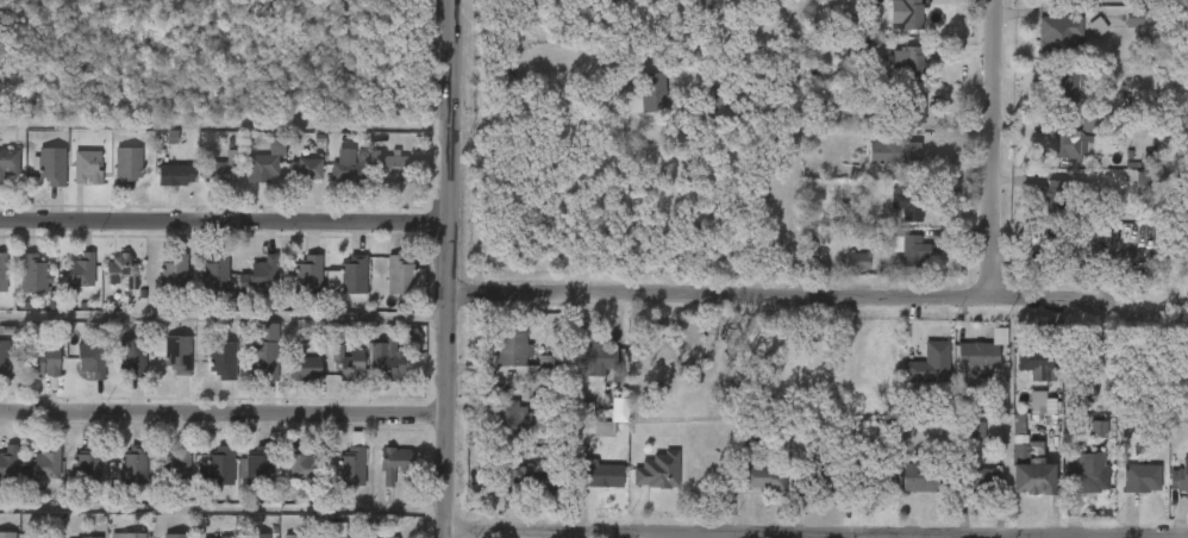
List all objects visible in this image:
building: (1146, 0)
building: (649, 1)
building: (614, 4)
building: (909, 14)
building: (1134, 18)
building: (1094, 26)
building: (1056, 29)
building: (911, 63)
building: (1065, 85)
building: (644, 92)
road: (532, 95)
building: (911, 105)
building: (713, 107)
road: (226, 126)
building: (1074, 139)
road: (998, 146)
building: (892, 151)
building: (10, 161)
building: (264, 163)
building: (51, 164)
building: (87, 165)
building: (127, 165)
building: (392, 167)
building: (221, 168)
building: (307, 168)
building: (349, 170)
building: (175, 174)
building: (1140, 183)
building: (1056, 196)
building: (907, 204)
road: (225, 221)
building: (1113, 229)
building: (1059, 244)
building: (911, 246)
building: (855, 259)
road: (450, 268)
building: (119, 270)
building: (1, 271)
building: (31, 273)
building: (76, 273)
building: (261, 273)
building: (170, 274)
building: (306, 274)
building: (212, 275)
building: (350, 275)
building: (398, 276)
road: (819, 298)
road: (225, 319)
building: (1055, 330)
building: (512, 348)
building: (980, 350)
building: (176, 355)
building: (130, 357)
building: (594, 358)
building: (1036, 358)
building: (2, 359)
building: (89, 359)
building: (220, 359)
building: (262, 359)
building: (42, 362)
building: (345, 362)
building: (386, 362)
building: (927, 362)
building: (301, 364)
building: (551, 367)
building: (1086, 395)
building: (1039, 403)
building: (579, 411)
building: (618, 411)
road: (224, 412)
building: (513, 415)
building: (1096, 430)
building: (975, 432)
building: (8, 462)
building: (394, 463)
building: (44, 464)
building: (177, 464)
building: (300, 464)
building: (87, 465)
building: (221, 465)
building: (135, 467)
building: (260, 467)
building: (351, 467)
building: (656, 468)
building: (596, 470)
building: (1081, 471)
building: (1182, 473)
building: (919, 475)
building: (1031, 475)
building: (529, 476)
building: (815, 476)
building: (868, 476)
building: (762, 477)
building: (1142, 477)
building: (975, 478)
building: (1073, 500)
road: (223, 509)
building: (334, 530)
building: (8, 534)
building: (43, 534)
building: (124, 534)
building: (174, 534)
building: (251, 534)
building: (293, 534)
road: (686, 534)
building: (346, 536)
building: (88, 537)
building: (223, 537)
building: (389, 537)

